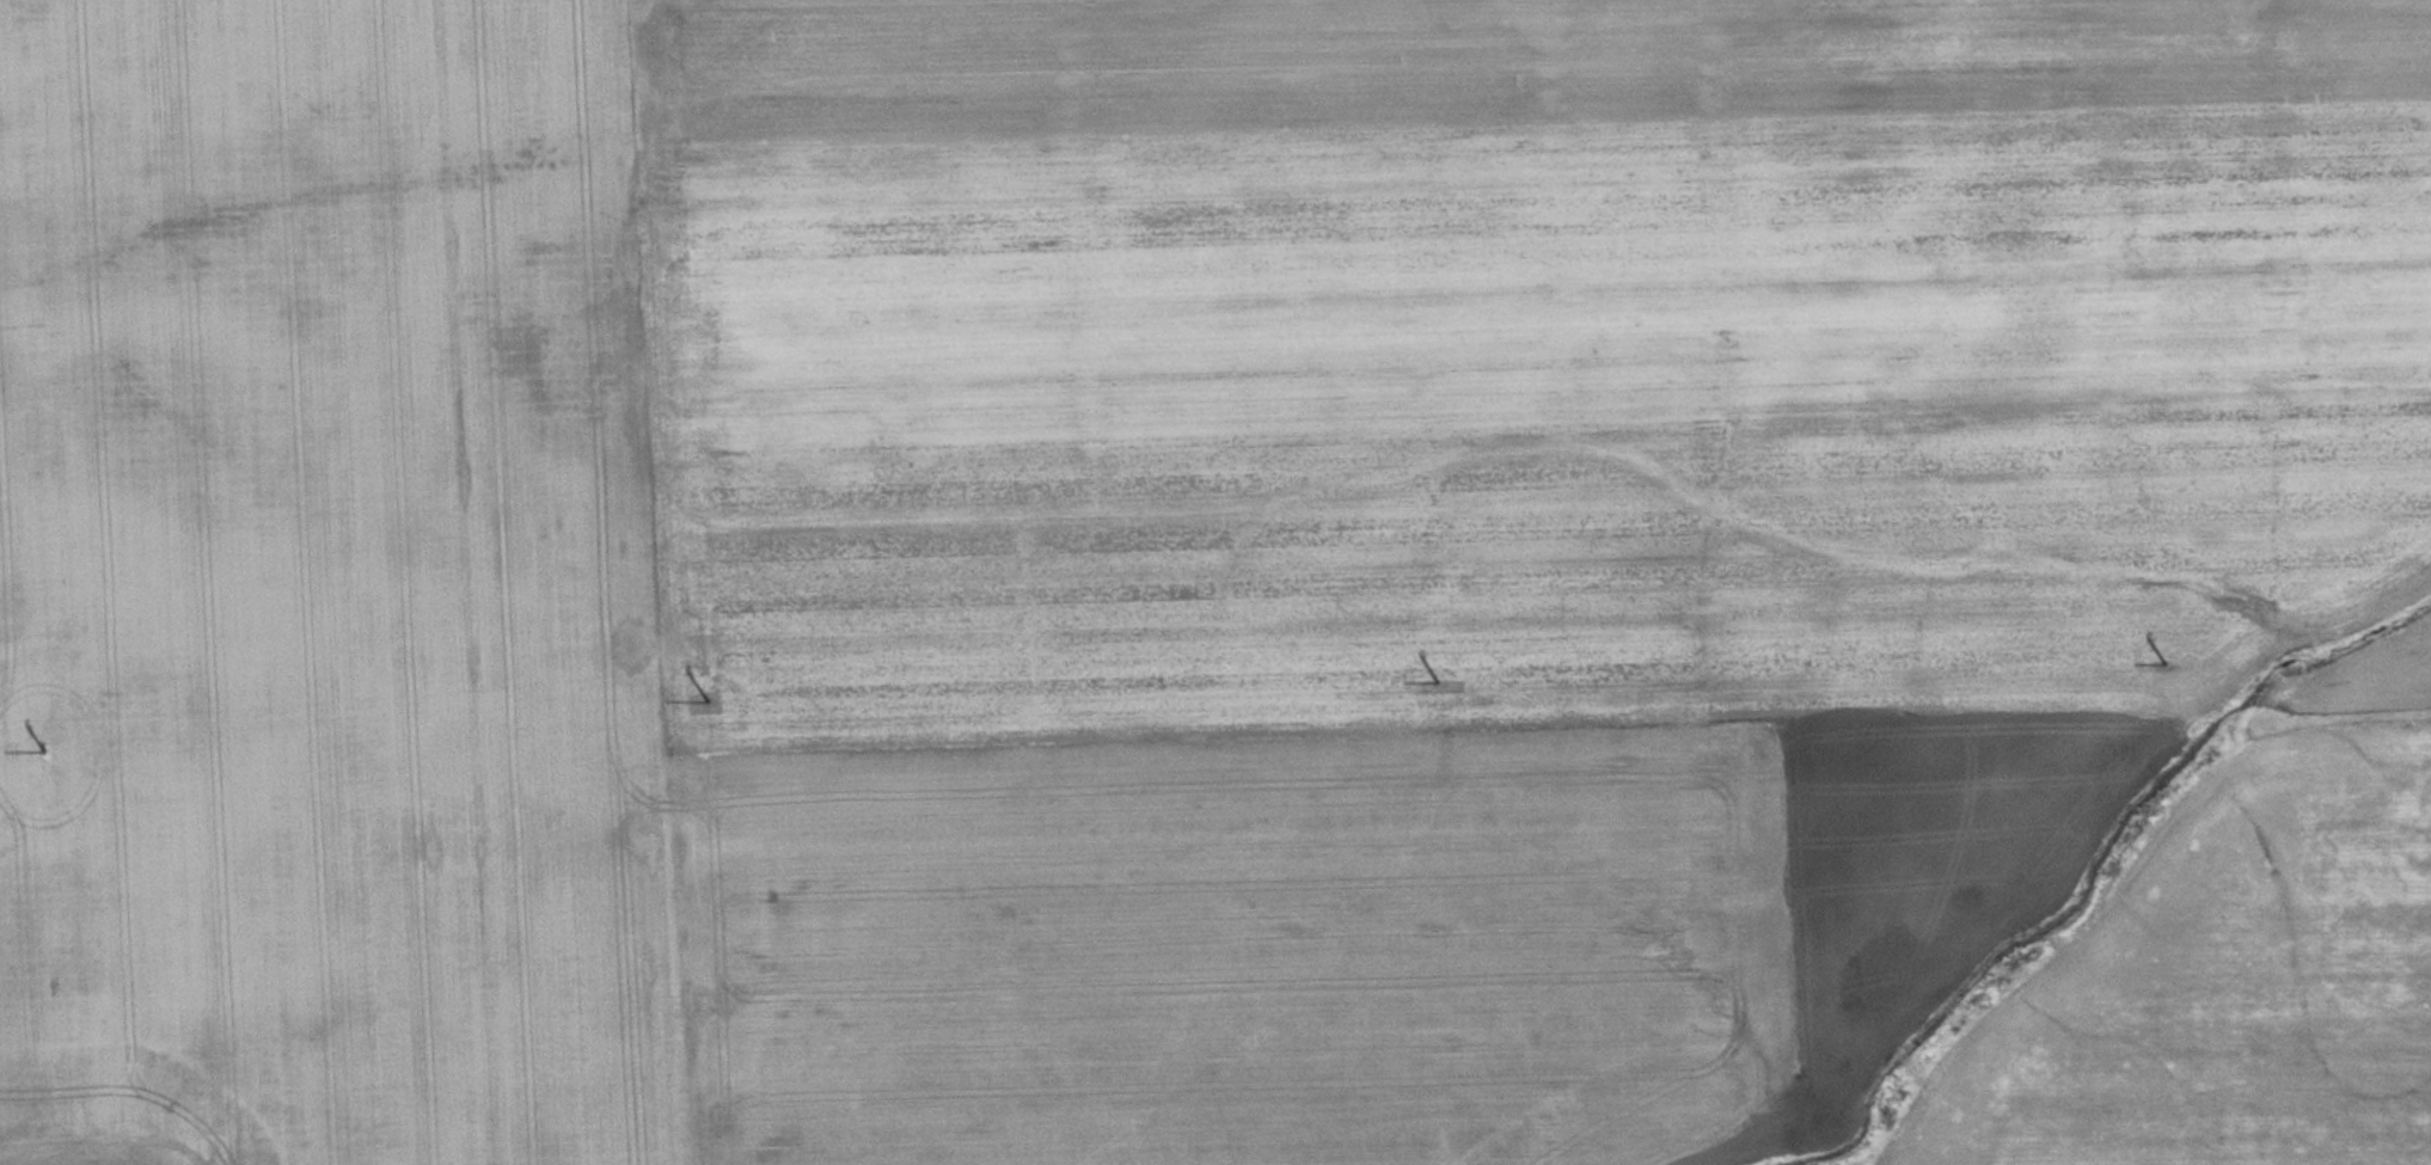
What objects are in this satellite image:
power tower: (2169, 666)
power tower: (1440, 686)
power tower: (711, 704)
power tower: (49, 752)

